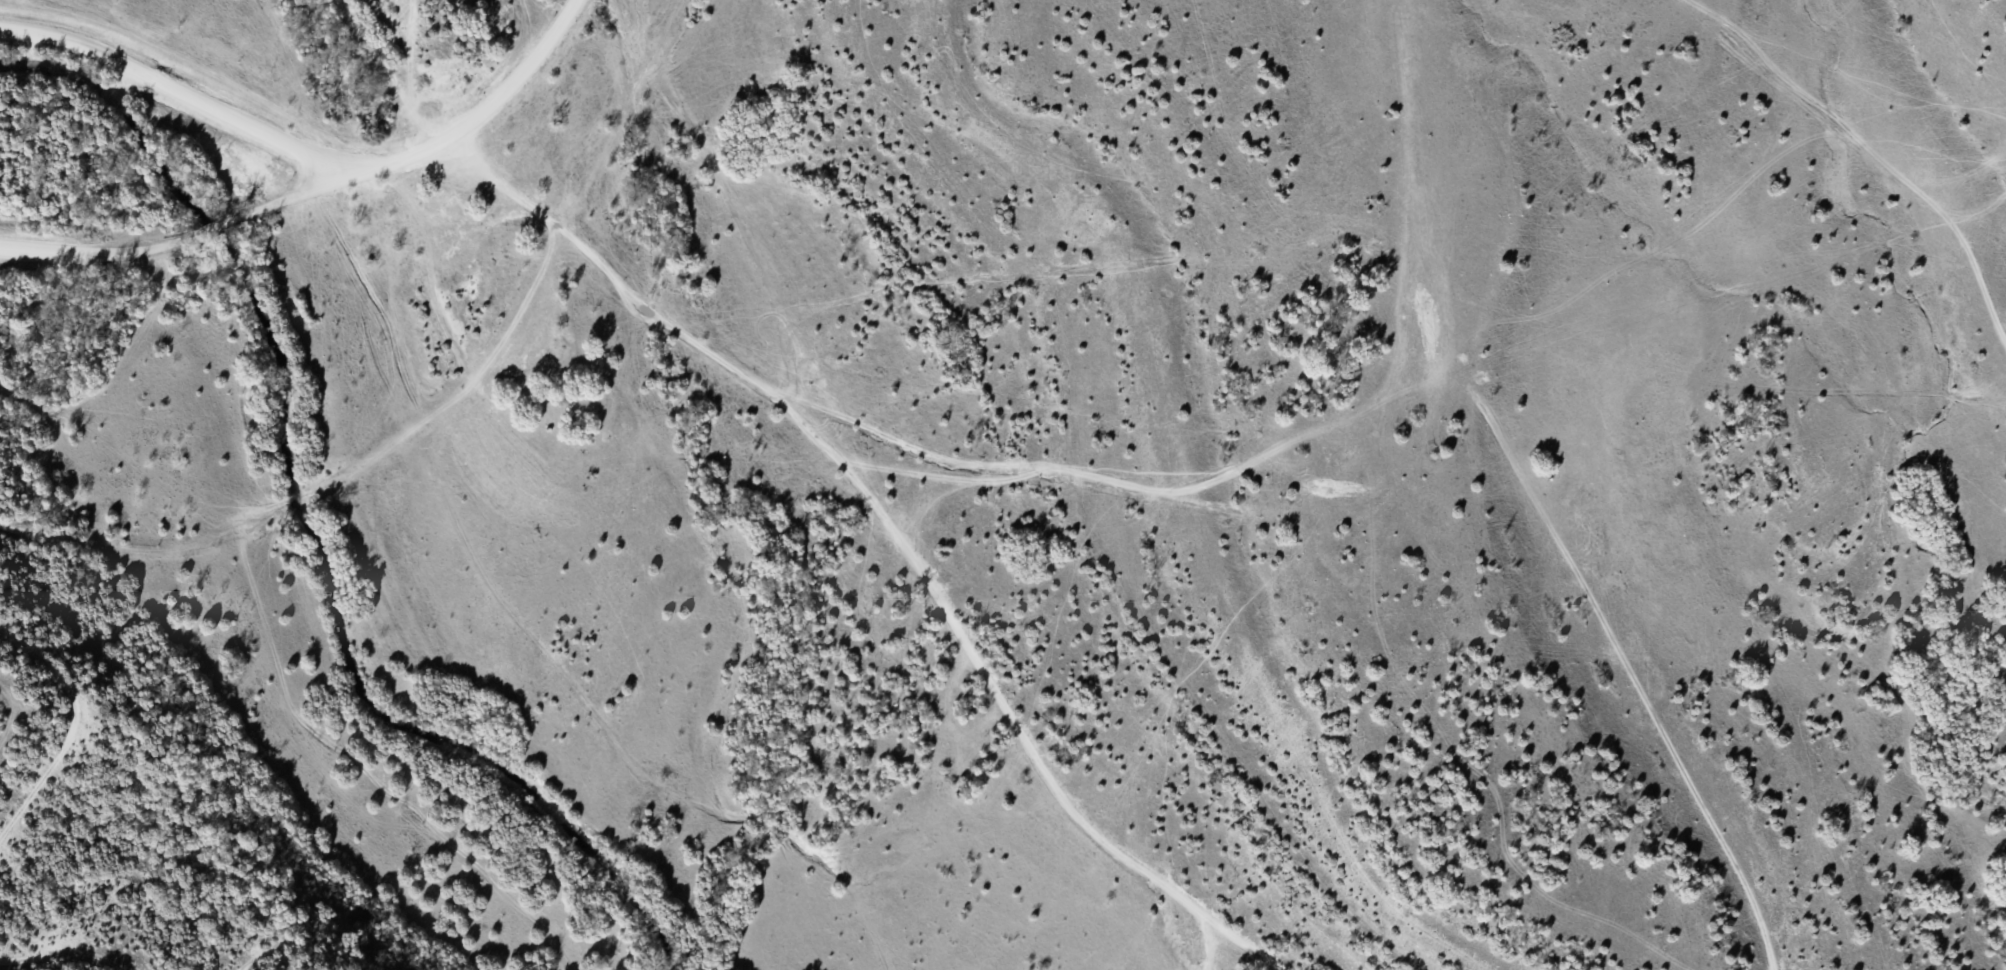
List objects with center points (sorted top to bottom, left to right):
road: (179, 94)
road: (484, 113)
road: (182, 240)

